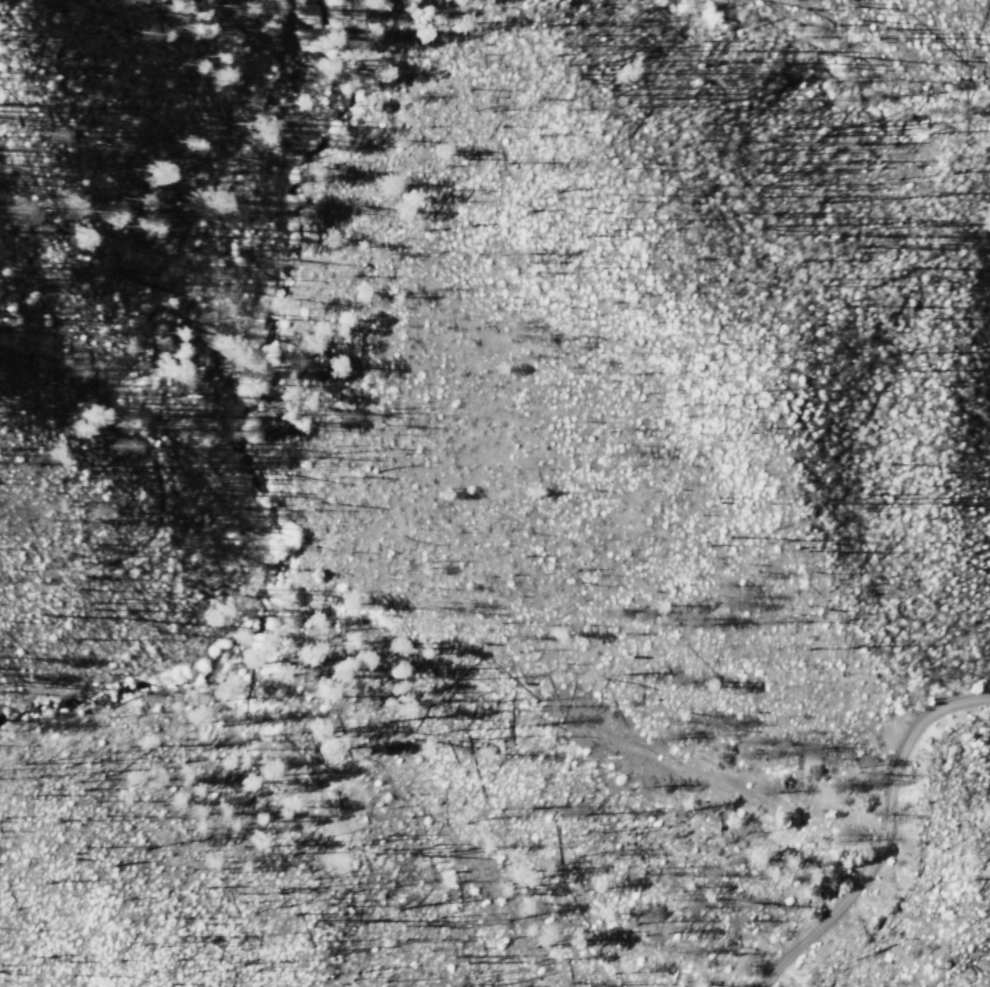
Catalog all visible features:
road: (812, 811)

